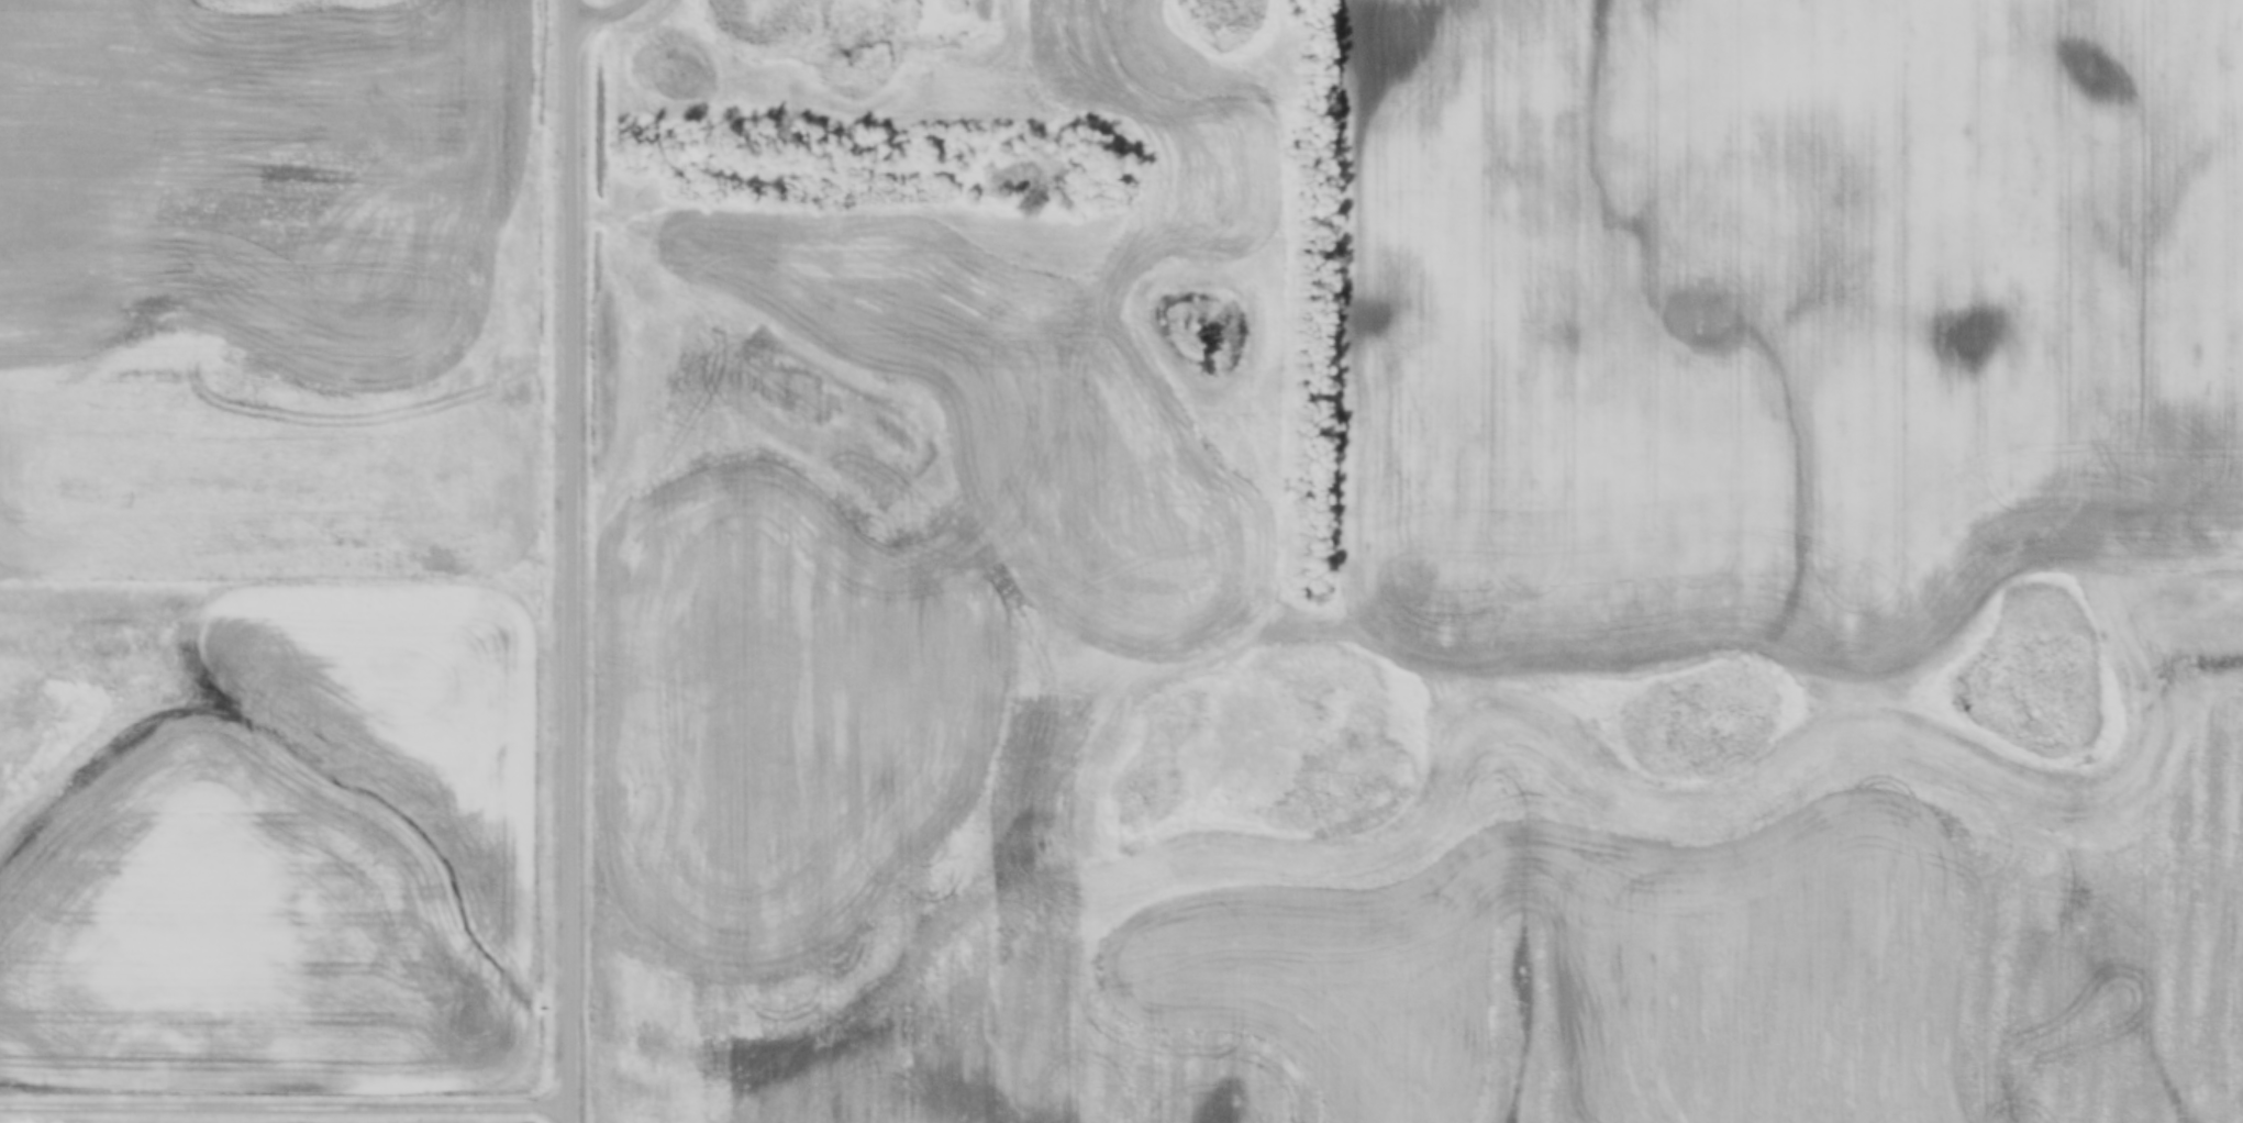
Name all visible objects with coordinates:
road: (604, 15)
road: (569, 561)
road: (284, 1110)

